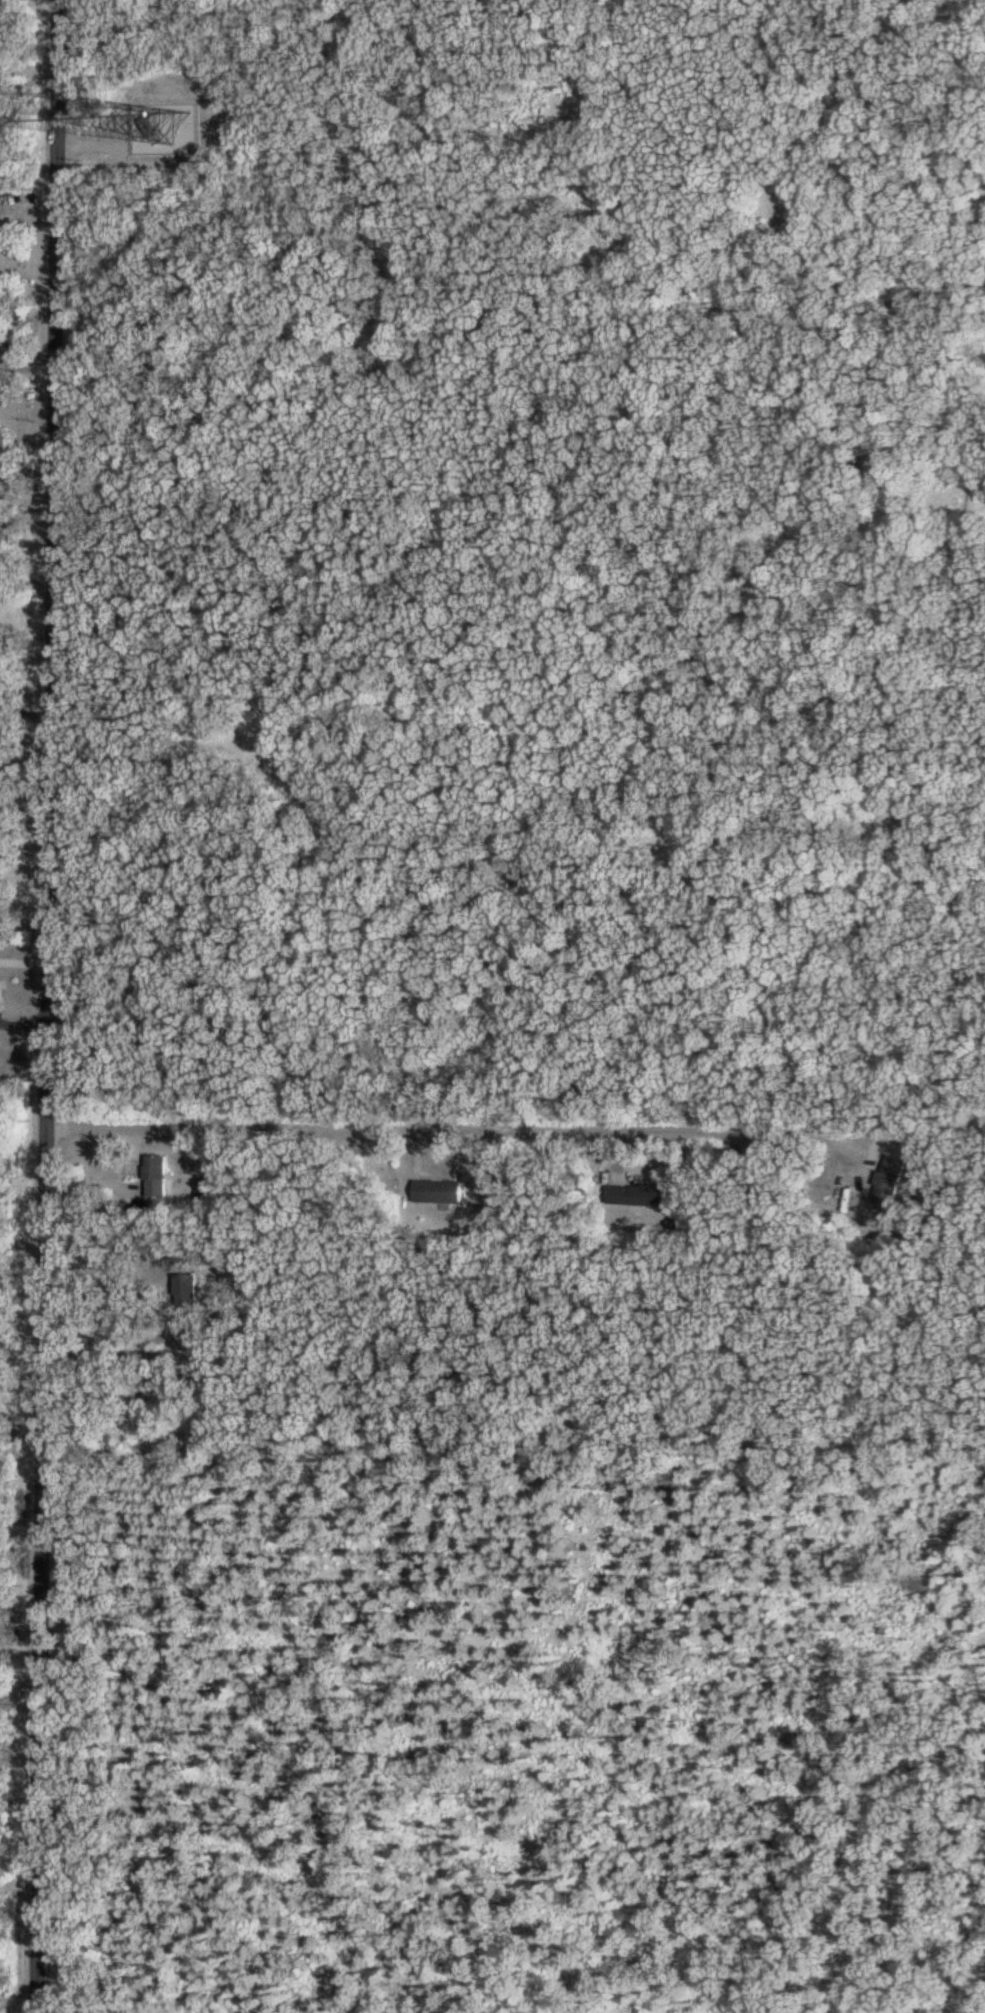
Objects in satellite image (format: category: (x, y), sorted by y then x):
road: (3, 234)
road: (22, 580)
road: (23, 709)
road: (22, 779)
road: (23, 960)
road: (47, 1006)
road: (443, 1128)
building: (159, 1175)
building: (891, 1182)
building: (441, 1191)
building: (640, 1194)
road: (23, 1243)
building: (188, 1292)
road: (16, 1881)

